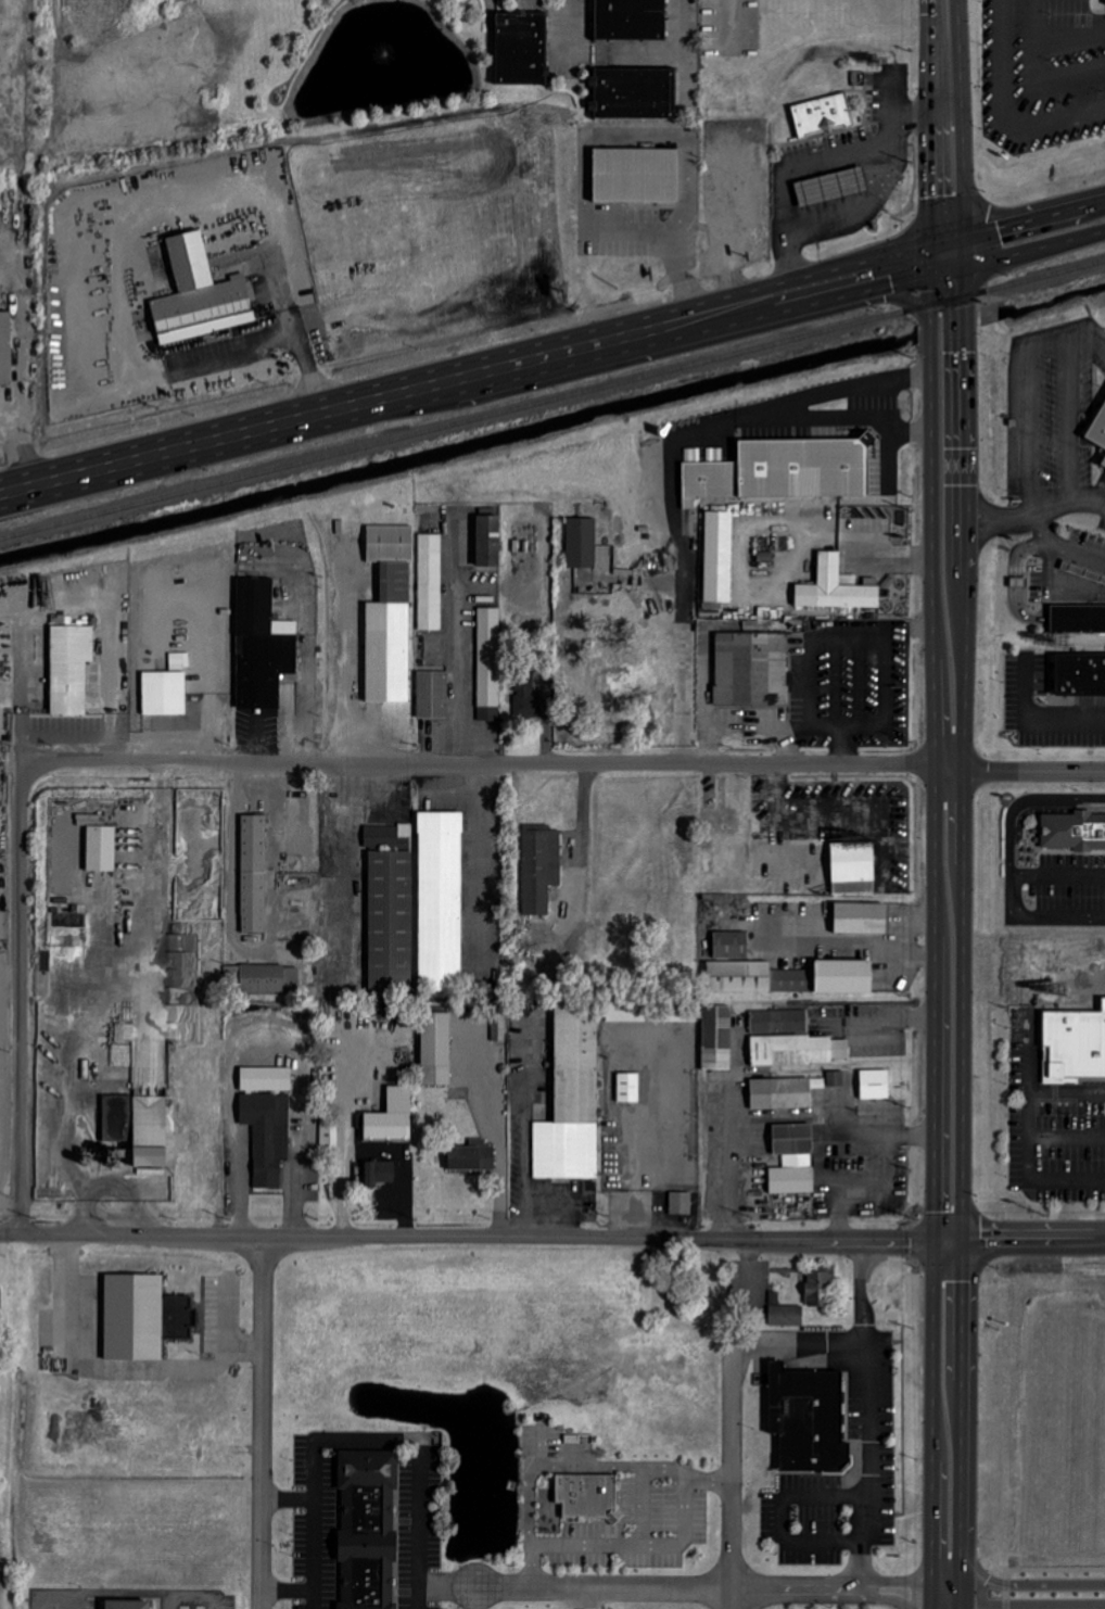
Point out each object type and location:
building: (631, 18)
road: (940, 22)
road: (676, 25)
building: (521, 48)
building: (633, 92)
building: (823, 114)
building: (635, 175)
building: (833, 187)
traffic signals: (926, 197)
road: (1013, 224)
traffic signals: (1001, 228)
road: (1016, 253)
traffic signals: (888, 270)
road: (685, 278)
building: (200, 295)
traffic signals: (894, 295)
road: (280, 296)
road: (897, 296)
road: (269, 345)
building: (5, 347)
traffic signals: (966, 353)
road: (462, 376)
railway: (552, 400)
road: (836, 418)
building: (1098, 430)
building: (1103, 465)
road: (666, 467)
building: (799, 467)
road: (1015, 518)
building: (490, 540)
building: (581, 542)
building: (390, 544)
road: (1079, 554)
building: (719, 557)
building: (429, 582)
road: (1057, 587)
building: (836, 588)
building: (1078, 619)
building: (389, 636)
road: (456, 639)
building: (259, 646)
building: (486, 663)
building: (746, 668)
building: (71, 669)
building: (1080, 675)
building: (163, 693)
building: (431, 694)
road: (556, 763)
road: (933, 813)
road: (962, 825)
building: (1072, 831)
building: (101, 849)
road: (472, 862)
building: (853, 869)
building: (541, 870)
building: (254, 875)
building: (441, 902)
building: (861, 920)
building: (391, 923)
road: (829, 941)
road: (893, 942)
building: (731, 946)
road: (20, 974)
building: (789, 978)
building: (263, 979)
building: (779, 1022)
building: (717, 1039)
building: (1075, 1046)
building: (436, 1050)
building: (799, 1051)
building: (836, 1079)
building: (266, 1080)
building: (875, 1085)
building: (628, 1089)
building: (785, 1093)
building: (572, 1100)
building: (392, 1119)
road: (829, 1122)
building: (150, 1133)
road: (1029, 1135)
building: (268, 1136)
road: (346, 1136)
road: (496, 1138)
building: (472, 1157)
building: (792, 1161)
road: (724, 1164)
road: (634, 1173)
building: (379, 1174)
road: (869, 1193)
building: (681, 1204)
road: (467, 1234)
road: (1019, 1239)
traffic signals: (933, 1240)
traffic signals: (961, 1240)
building: (818, 1290)
building: (0, 1298)
building: (785, 1313)
building: (143, 1319)
road: (798, 1348)
road: (868, 1414)
building: (808, 1419)
road: (259, 1421)
road: (417, 1441)
road: (538, 1471)
road: (729, 1471)
road: (660, 1472)
building: (587, 1495)
road: (640, 1511)
building: (368, 1530)
road: (313, 1544)
road: (637, 1550)
road: (1052, 1569)
road: (963, 1583)
road: (899, 1584)
road: (1051, 1584)
road: (446, 1585)
road: (1008, 1585)
road: (671, 1587)
road: (148, 1593)
road: (1008, 1595)
road: (930, 1596)
road: (587, 1598)
road: (308, 1599)
road: (898, 1600)
road: (1008, 1604)
road: (1017, 1604)
building: (127, 1605)

